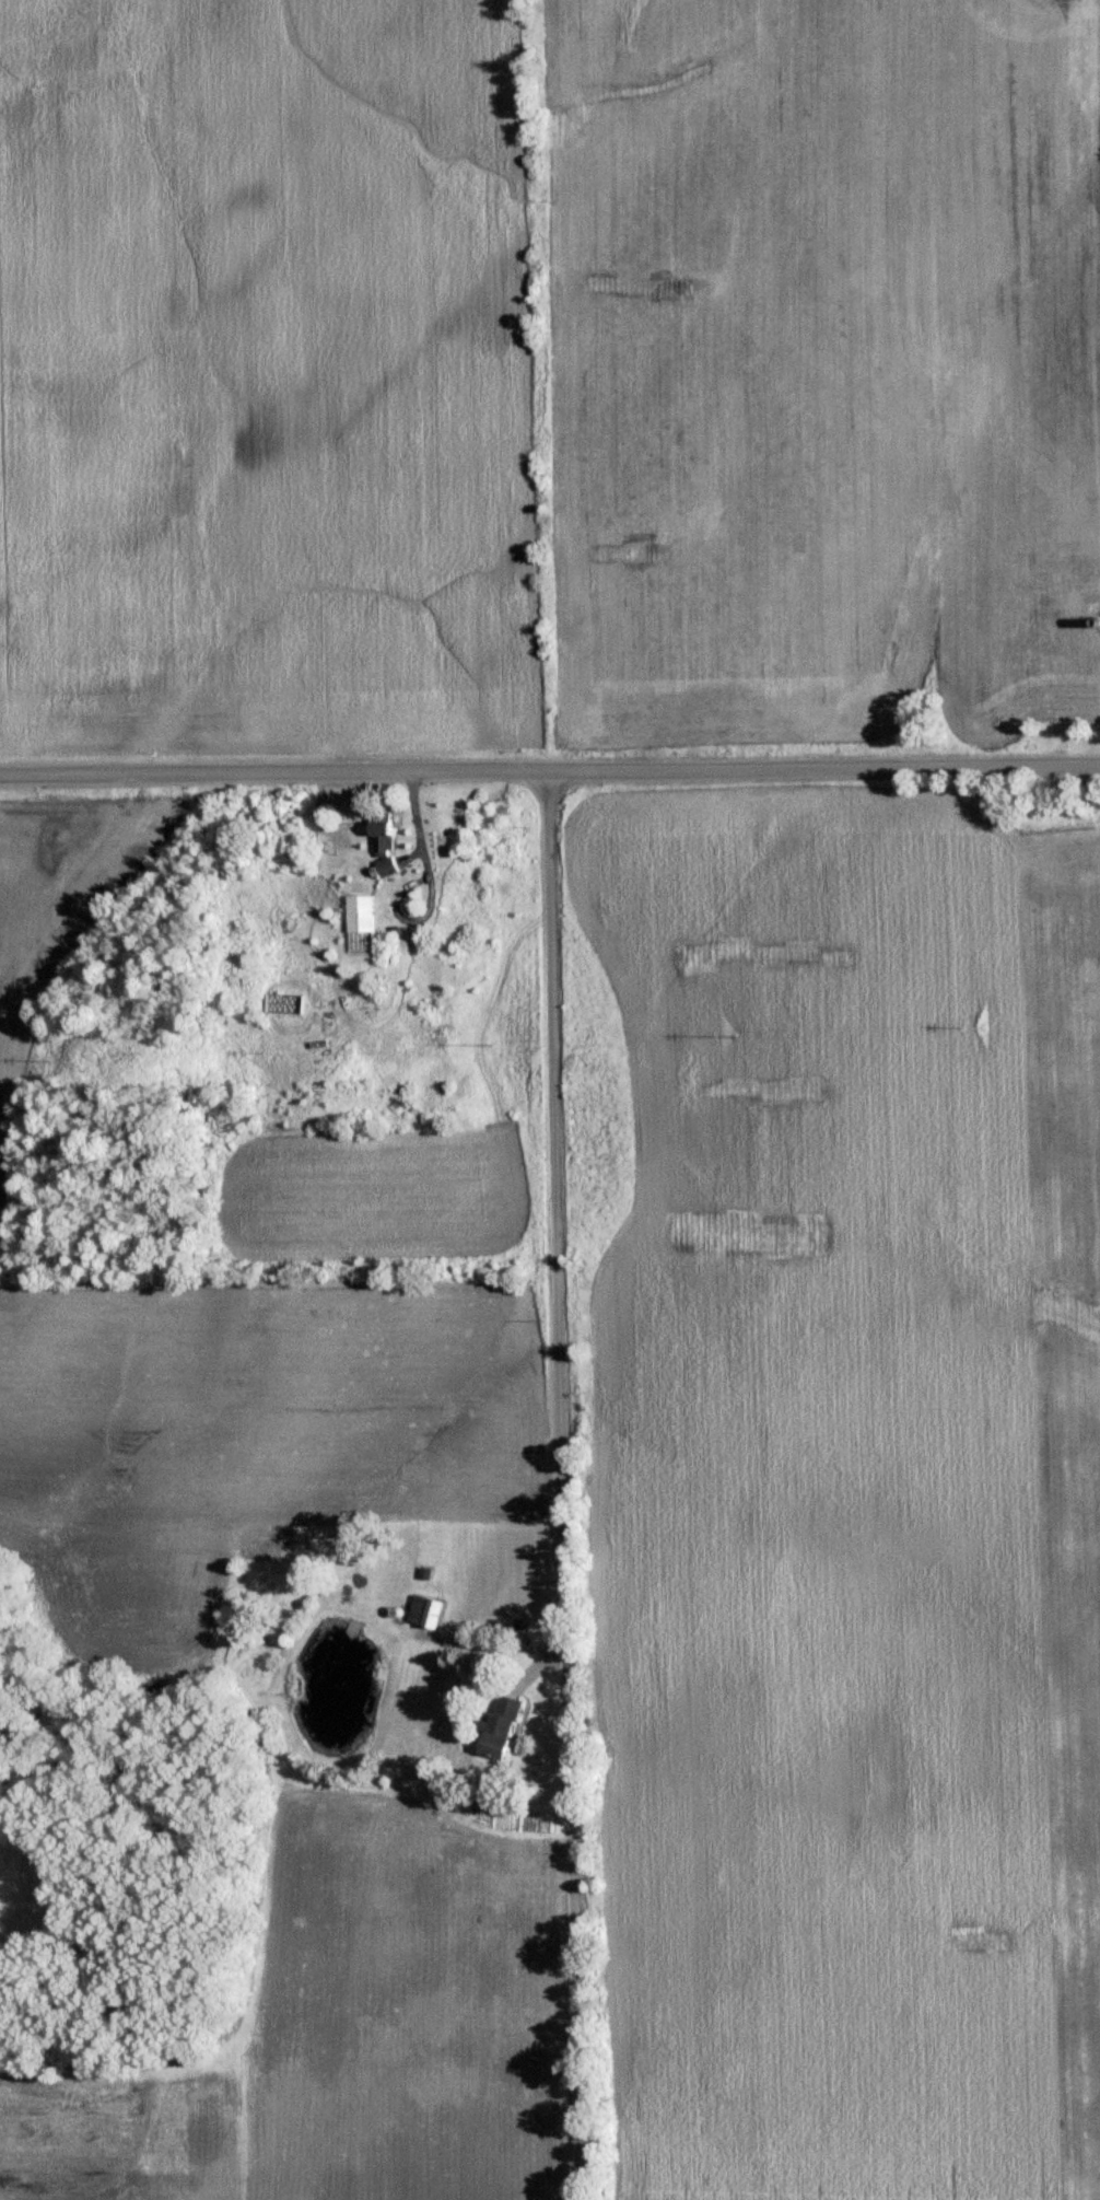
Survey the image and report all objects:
road: (550, 773)
building: (359, 912)
road: (550, 1487)
building: (421, 1610)
building: (495, 1727)

